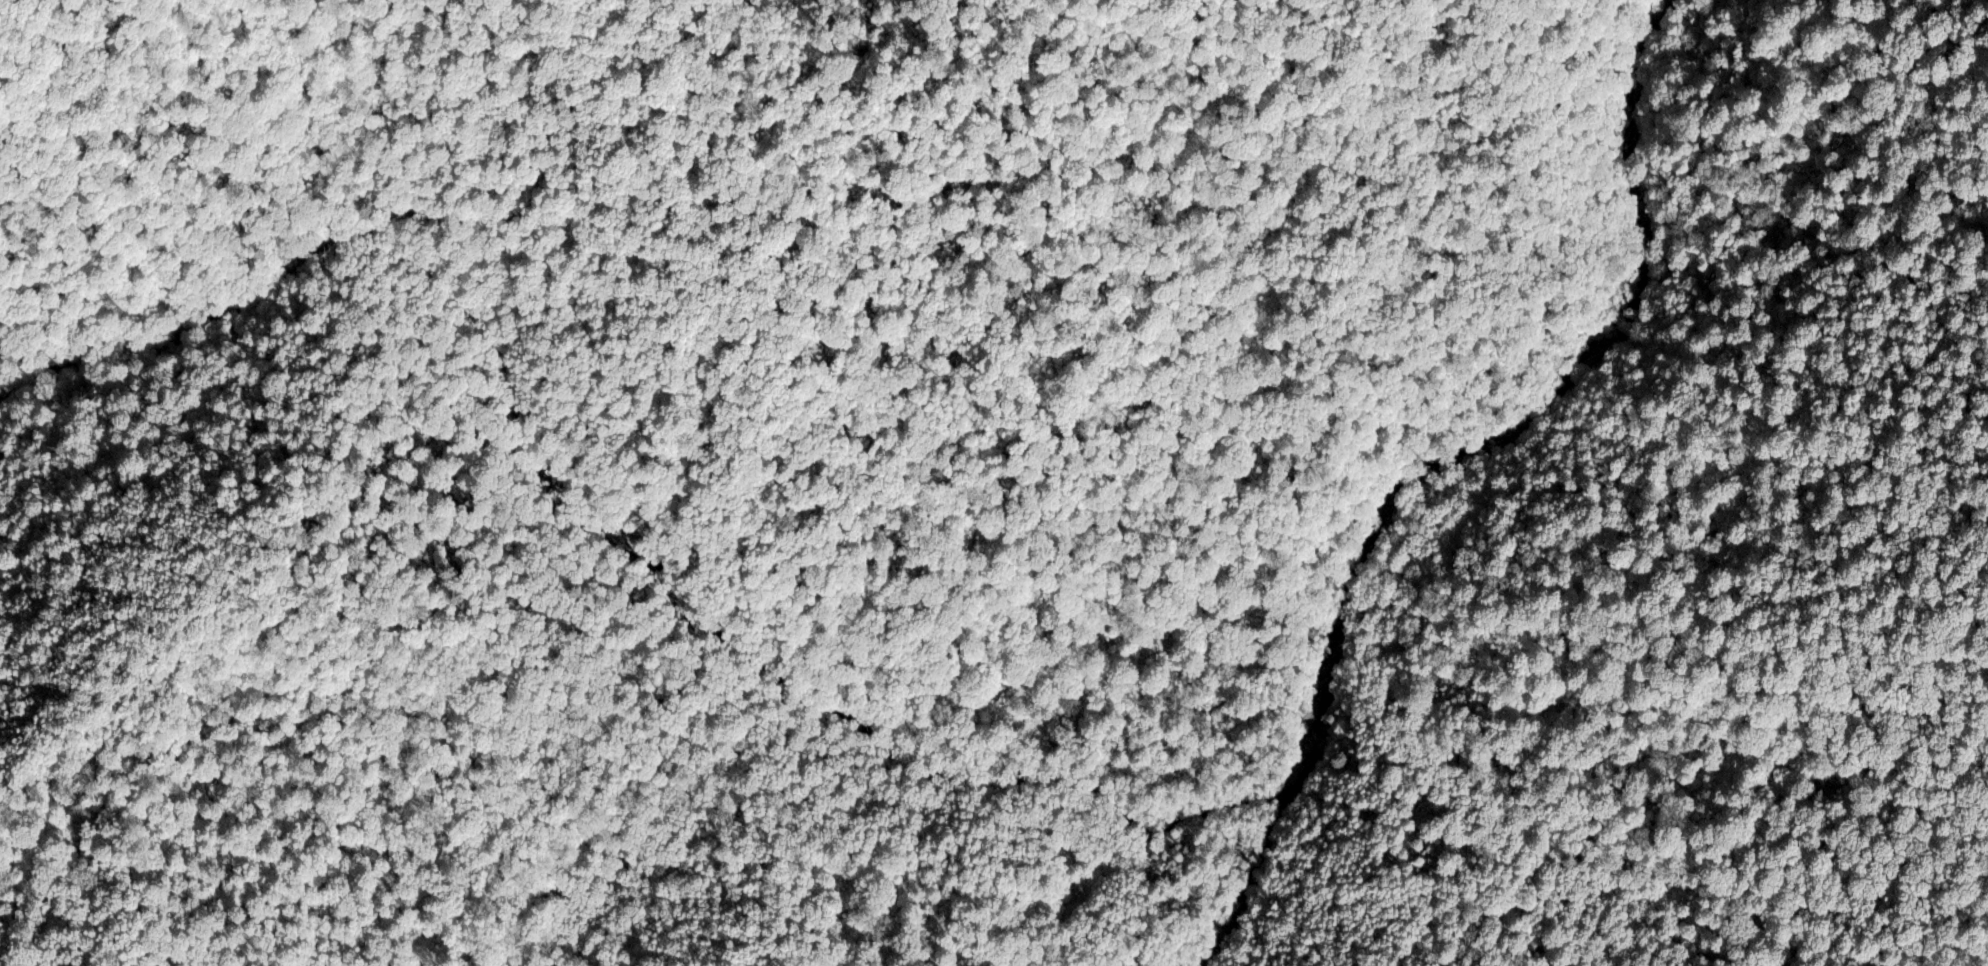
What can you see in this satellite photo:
river: (1525, 418)
road: (1447, 572)
road: (337, 742)
road: (1953, 924)

